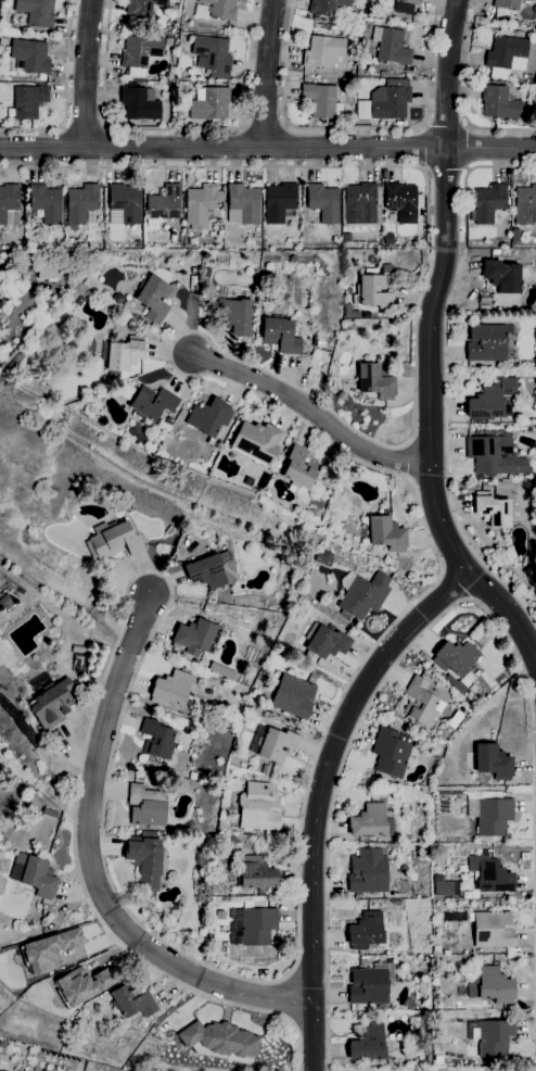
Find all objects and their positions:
building: (361, 0)
building: (532, 0)
building: (507, 4)
building: (405, 5)
building: (143, 7)
building: (327, 7)
building: (217, 10)
building: (36, 12)
building: (368, 28)
building: (2, 41)
building: (168, 42)
building: (391, 46)
building: (140, 51)
building: (324, 53)
building: (506, 55)
building: (30, 56)
building: (212, 56)
road: (87, 74)
road: (268, 74)
building: (383, 74)
building: (164, 88)
road: (66, 94)
road: (464, 96)
building: (532, 97)
building: (28, 101)
building: (321, 101)
building: (140, 103)
building: (209, 104)
building: (391, 104)
building: (500, 104)
road: (265, 125)
road: (446, 125)
road: (84, 126)
road: (175, 127)
road: (355, 128)
road: (268, 148)
road: (424, 148)
road: (468, 148)
road: (446, 171)
building: (279, 202)
building: (401, 202)
building: (47, 203)
building: (81, 203)
building: (323, 203)
building: (488, 203)
building: (9, 204)
building: (124, 205)
building: (243, 205)
building: (361, 205)
building: (164, 206)
building: (202, 206)
building: (525, 206)
building: (346, 238)
building: (179, 239)
building: (388, 239)
building: (495, 252)
building: (315, 257)
building: (386, 269)
building: (47, 272)
building: (206, 273)
building: (502, 276)
building: (204, 292)
building: (348, 292)
building: (372, 293)
building: (154, 299)
building: (268, 306)
building: (484, 308)
road: (17, 312)
building: (349, 312)
building: (237, 316)
building: (281, 336)
building: (319, 342)
building: (486, 343)
road: (429, 345)
building: (266, 348)
building: (124, 354)
building: (112, 376)
road: (446, 377)
building: (375, 381)
building: (490, 401)
building: (152, 404)
road: (310, 411)
building: (209, 418)
building: (169, 420)
building: (257, 443)
building: (494, 454)
building: (299, 469)
building: (493, 511)
building: (312, 514)
building: (170, 531)
building: (386, 534)
building: (113, 541)
building: (324, 559)
building: (525, 569)
building: (208, 570)
building: (362, 595)
road: (493, 596)
building: (5, 601)
road: (455, 604)
building: (195, 638)
building: (326, 641)
building: (78, 650)
building: (456, 659)
building: (9, 661)
building: (78, 663)
road: (352, 678)
building: (449, 681)
road: (532, 685)
building: (171, 690)
building: (293, 696)
building: (420, 701)
building: (50, 705)
road: (534, 738)
building: (156, 740)
building: (272, 744)
building: (392, 753)
building: (493, 761)
building: (265, 770)
road: (319, 796)
building: (374, 796)
building: (146, 806)
building: (259, 808)
building: (405, 808)
building: (50, 814)
building: (492, 816)
building: (371, 822)
building: (145, 862)
road: (91, 865)
building: (368, 872)
building: (257, 874)
building: (35, 875)
building: (490, 875)
building: (444, 889)
building: (471, 893)
building: (258, 925)
building: (492, 930)
building: (366, 931)
road: (535, 933)
building: (48, 950)
building: (362, 962)
road: (535, 971)
building: (82, 984)
building: (370, 984)
building: (495, 986)
building: (132, 1001)
building: (414, 1031)
building: (494, 1038)
building: (218, 1039)
building: (2, 1044)
building: (368, 1045)
building: (437, 1060)
building: (1, 1070)
building: (25, 1070)

